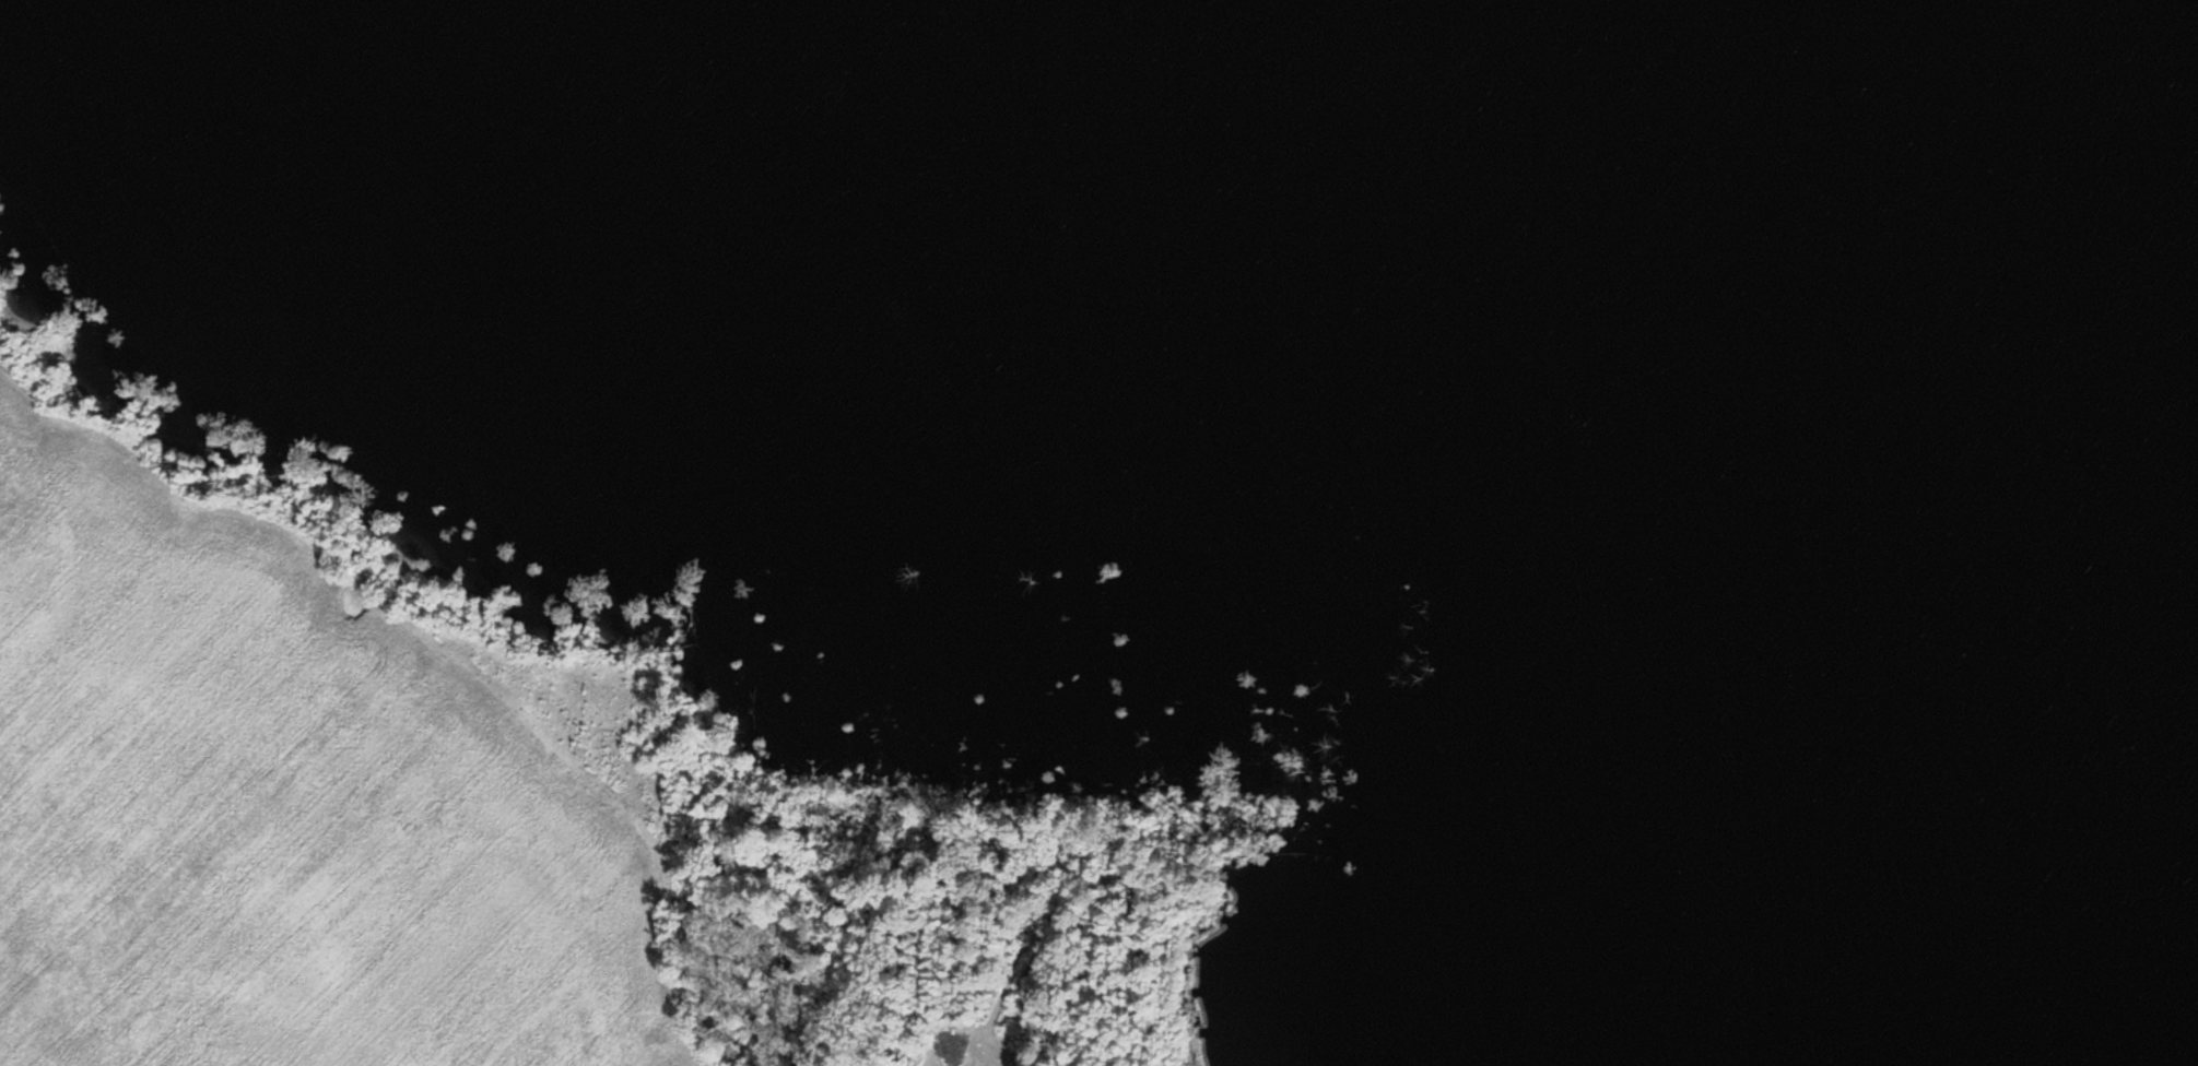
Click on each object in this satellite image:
road: (1022, 1057)

